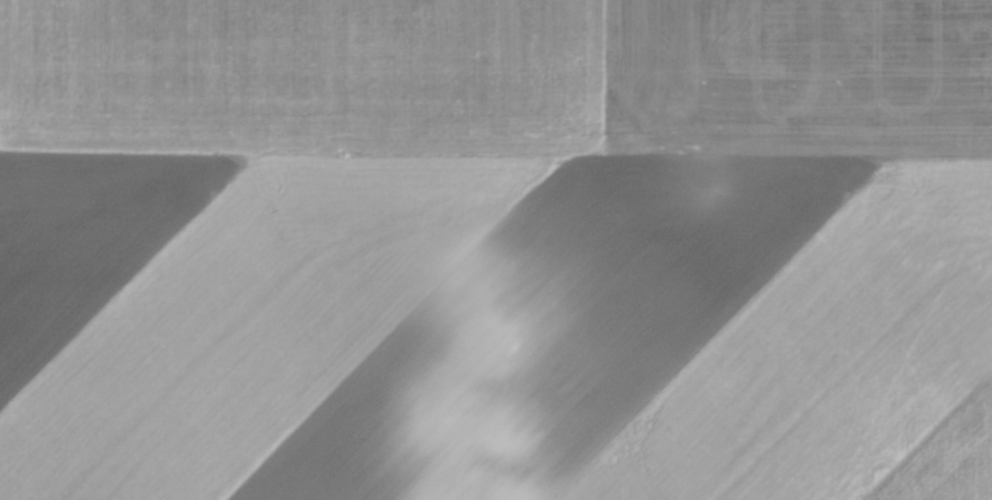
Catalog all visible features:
crop: (496, 250)

